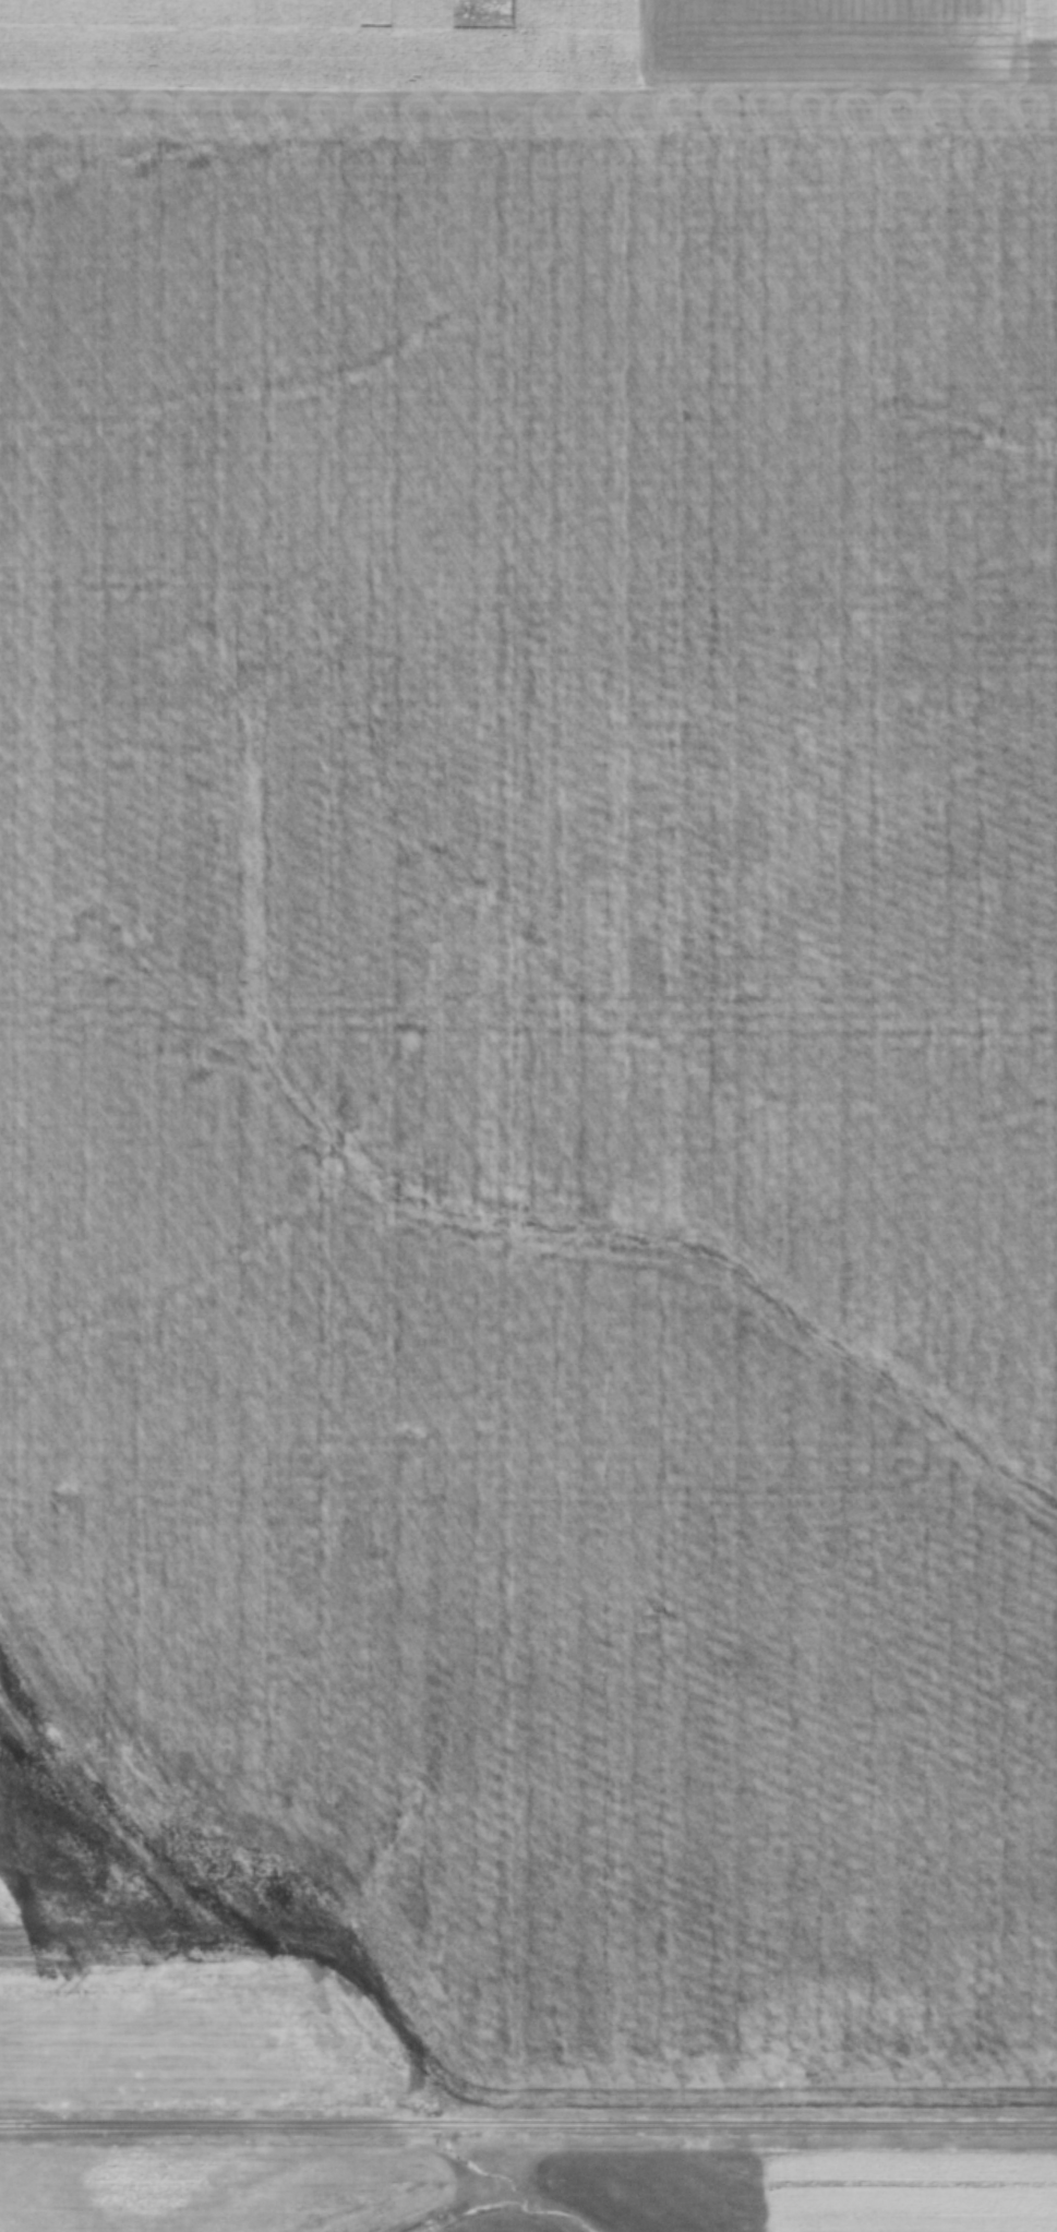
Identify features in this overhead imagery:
road: (528, 2122)

